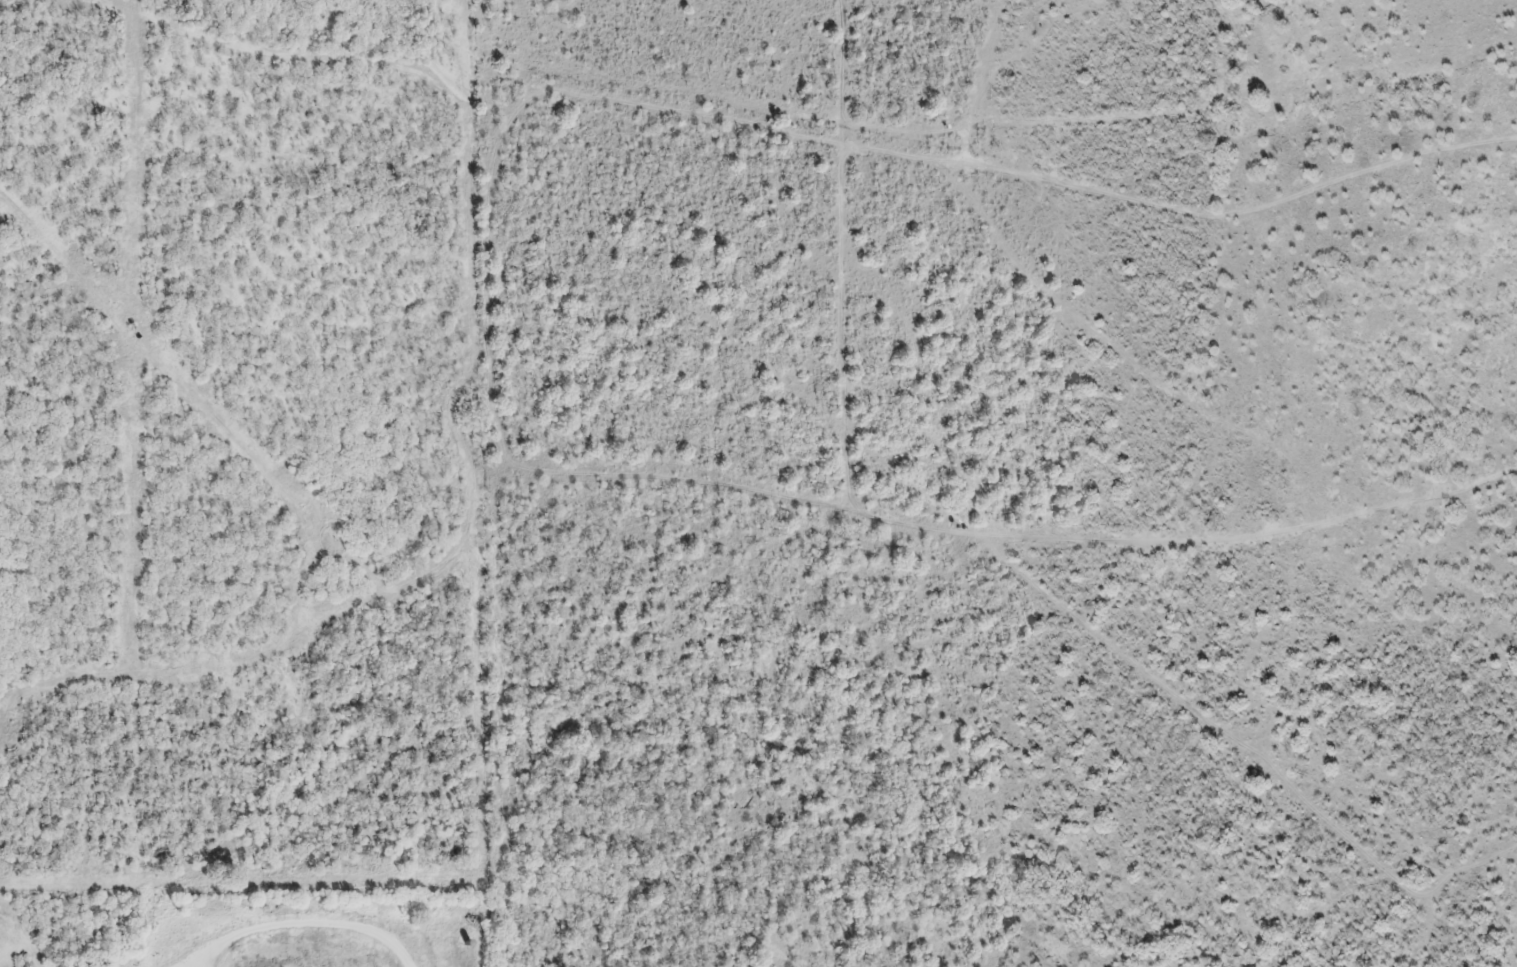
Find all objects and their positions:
road: (302, 925)

